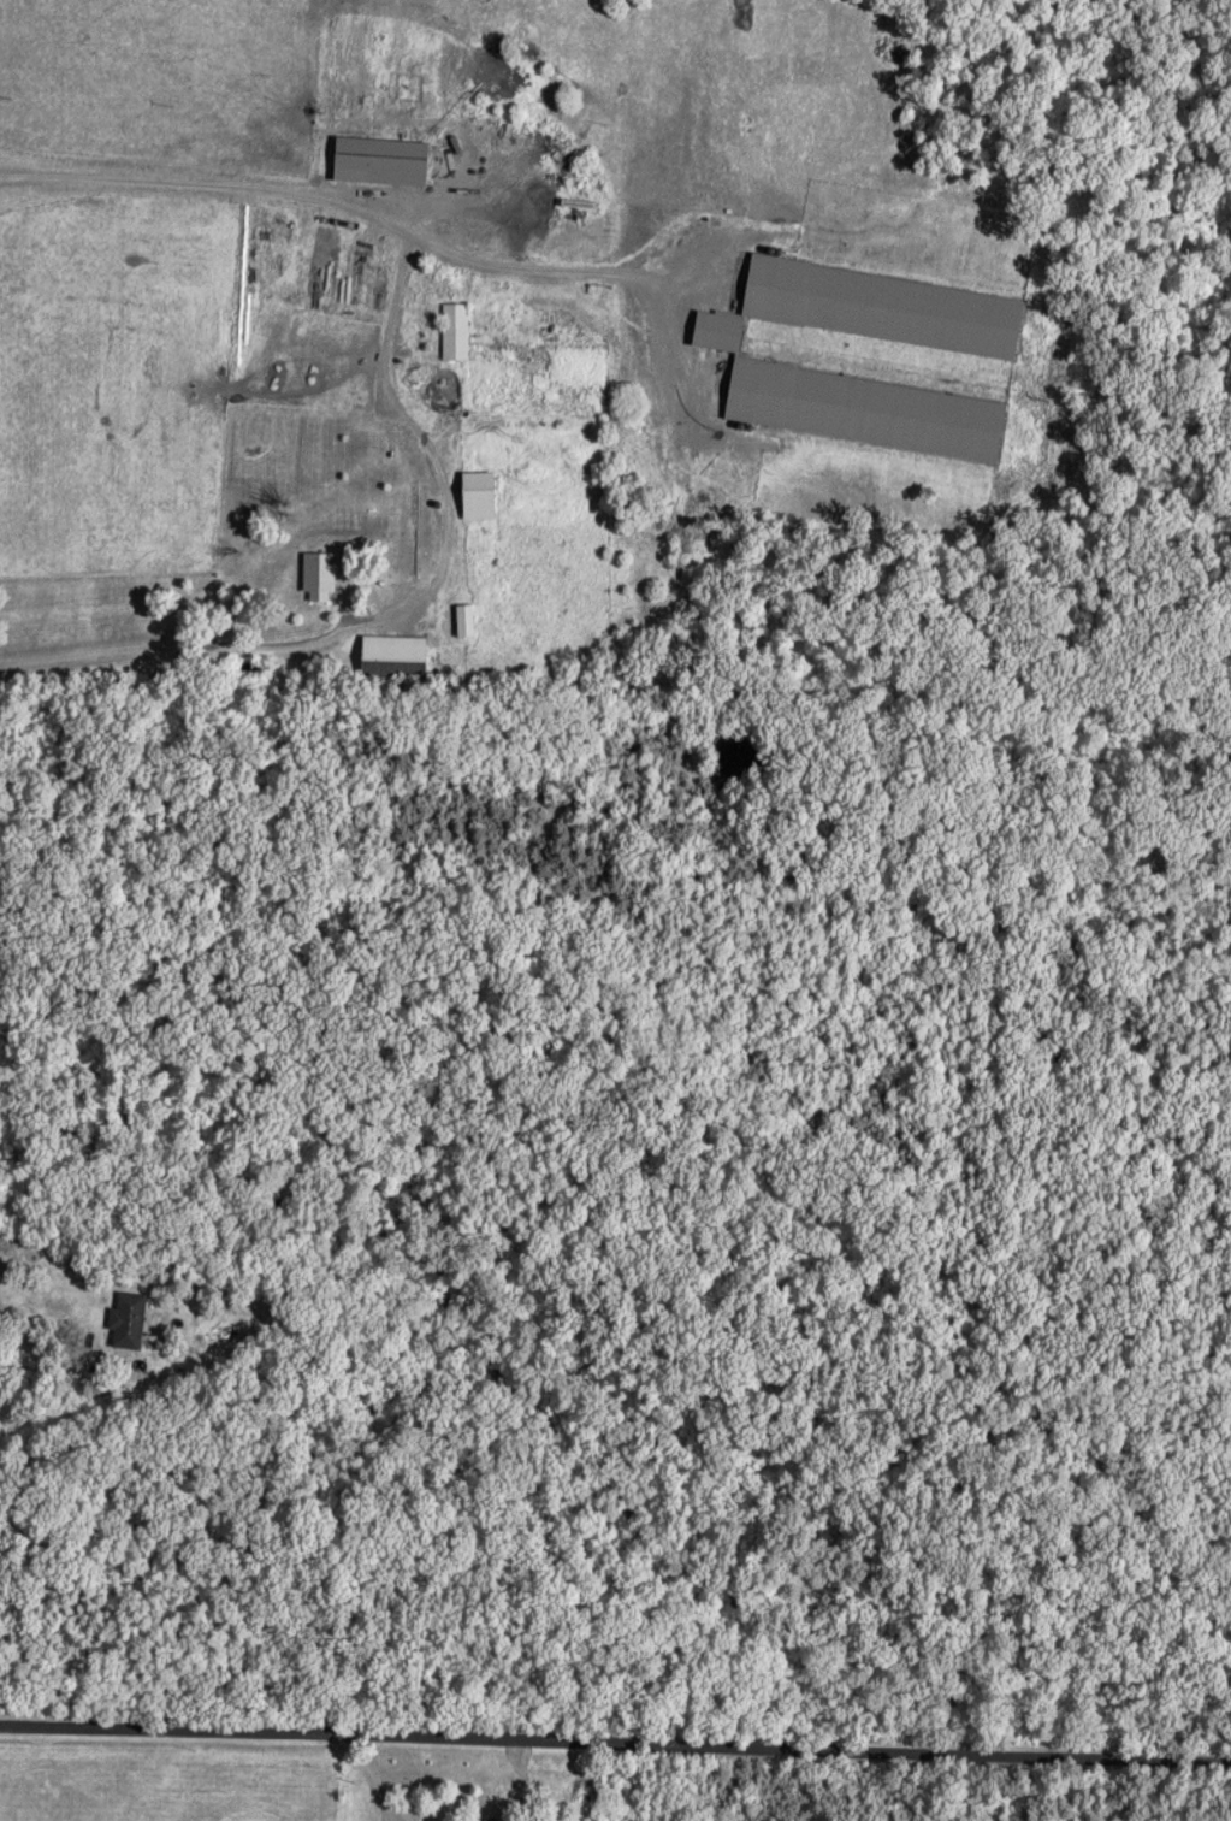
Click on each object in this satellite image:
building: (398, 161)
building: (455, 331)
building: (479, 495)
building: (401, 530)
building: (321, 577)
building: (466, 620)
road: (188, 644)
building: (396, 656)
building: (129, 1319)
road: (615, 1744)
road: (373, 1776)
building: (492, 1820)

